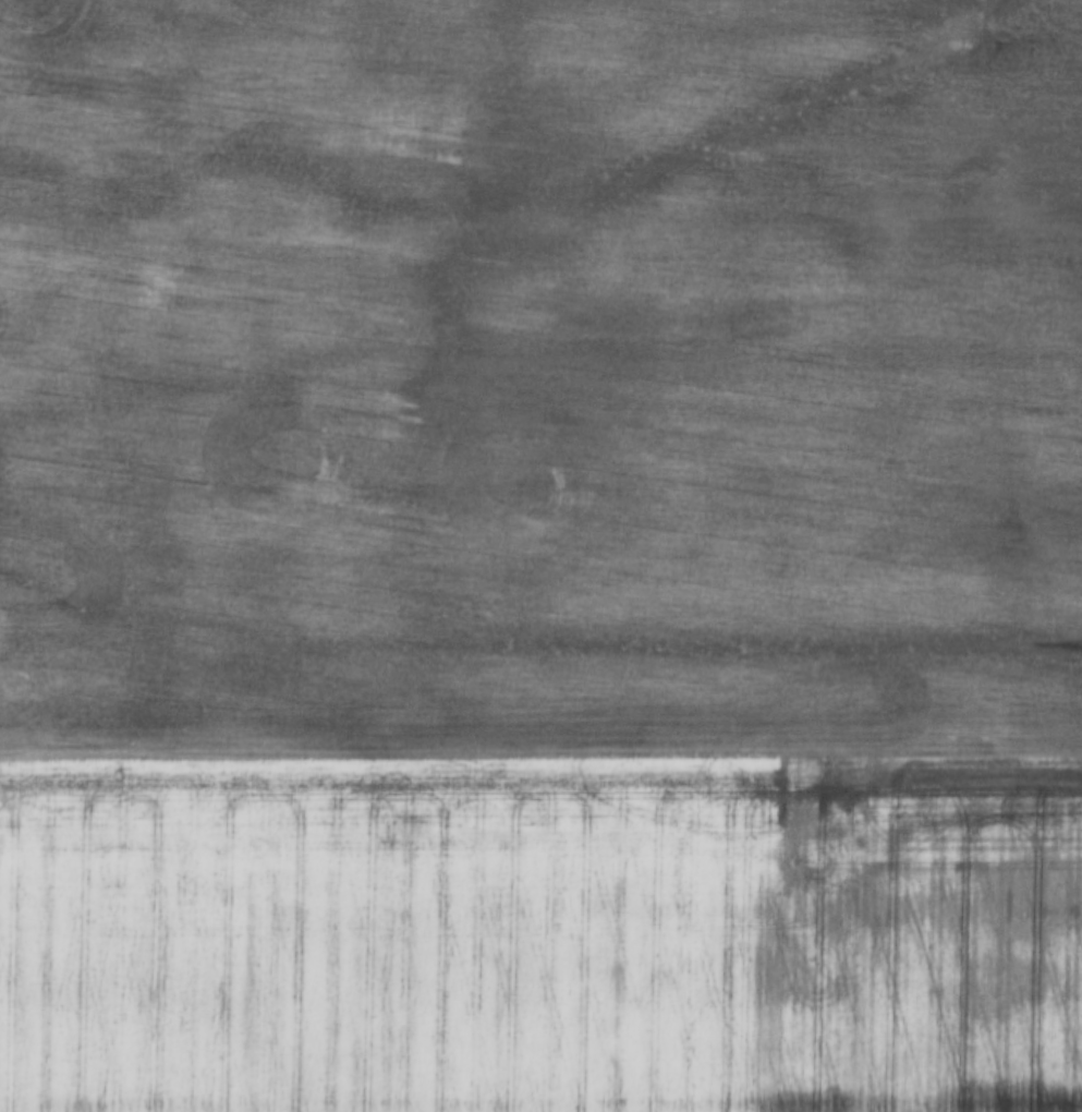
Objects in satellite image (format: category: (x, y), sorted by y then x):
crop: (539, 374)
crop: (542, 930)

